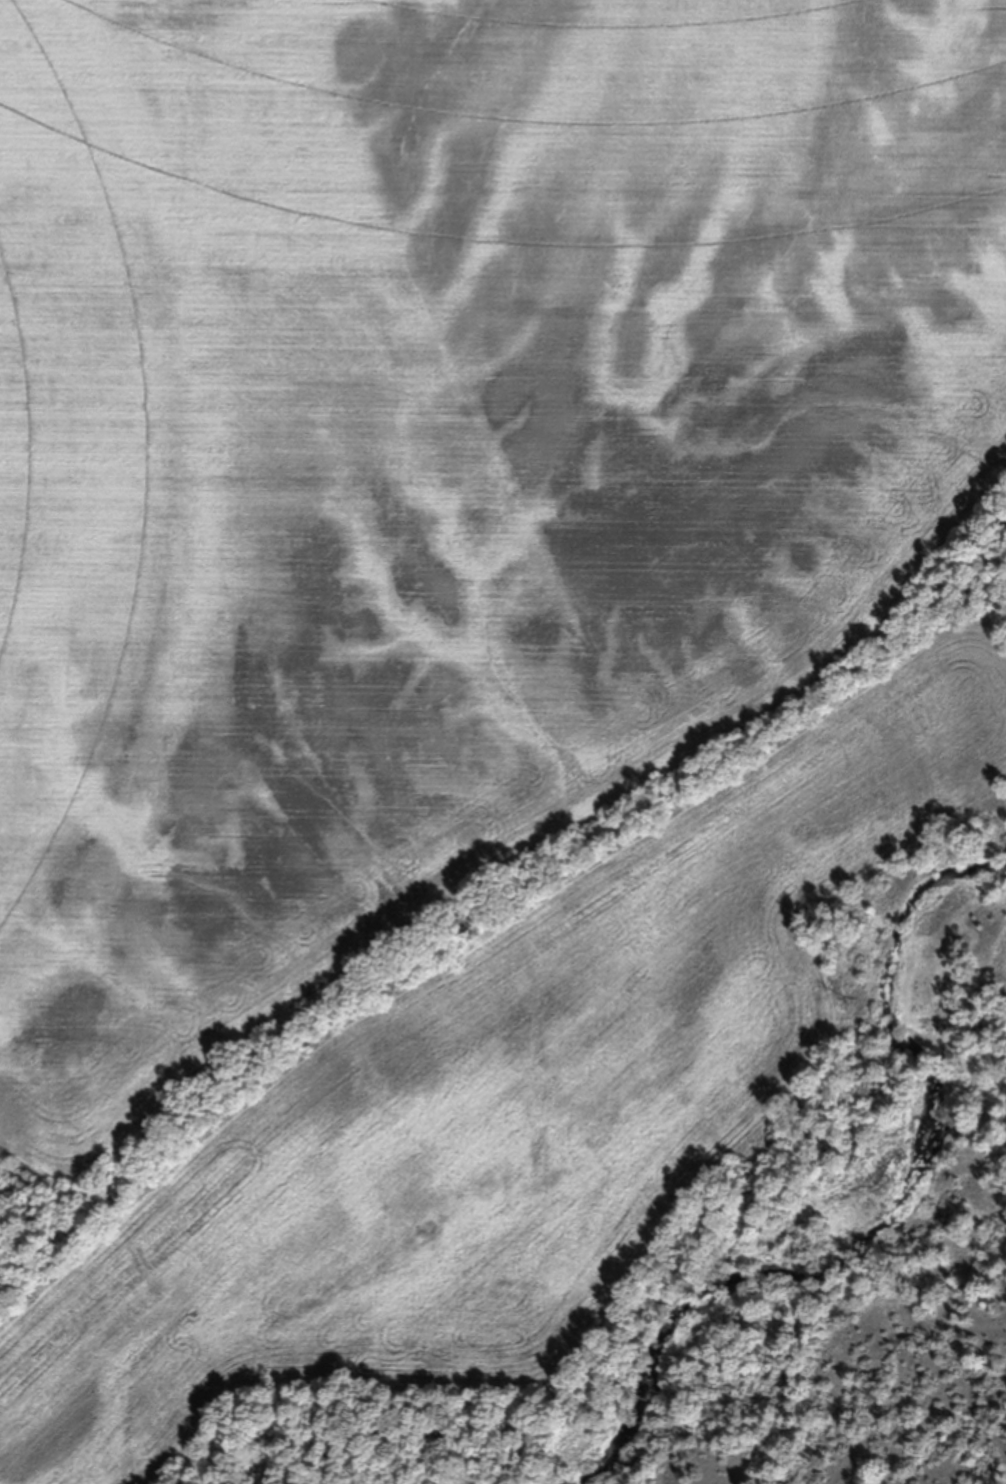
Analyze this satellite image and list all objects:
crop: (457, 645)

